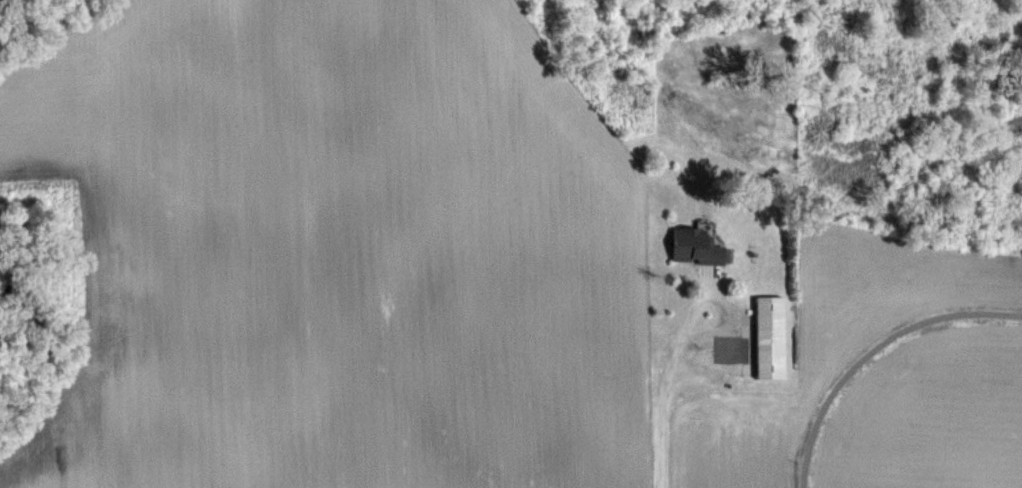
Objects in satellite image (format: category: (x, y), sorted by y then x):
building: (691, 244)
road: (718, 305)
building: (768, 335)
road: (654, 407)

